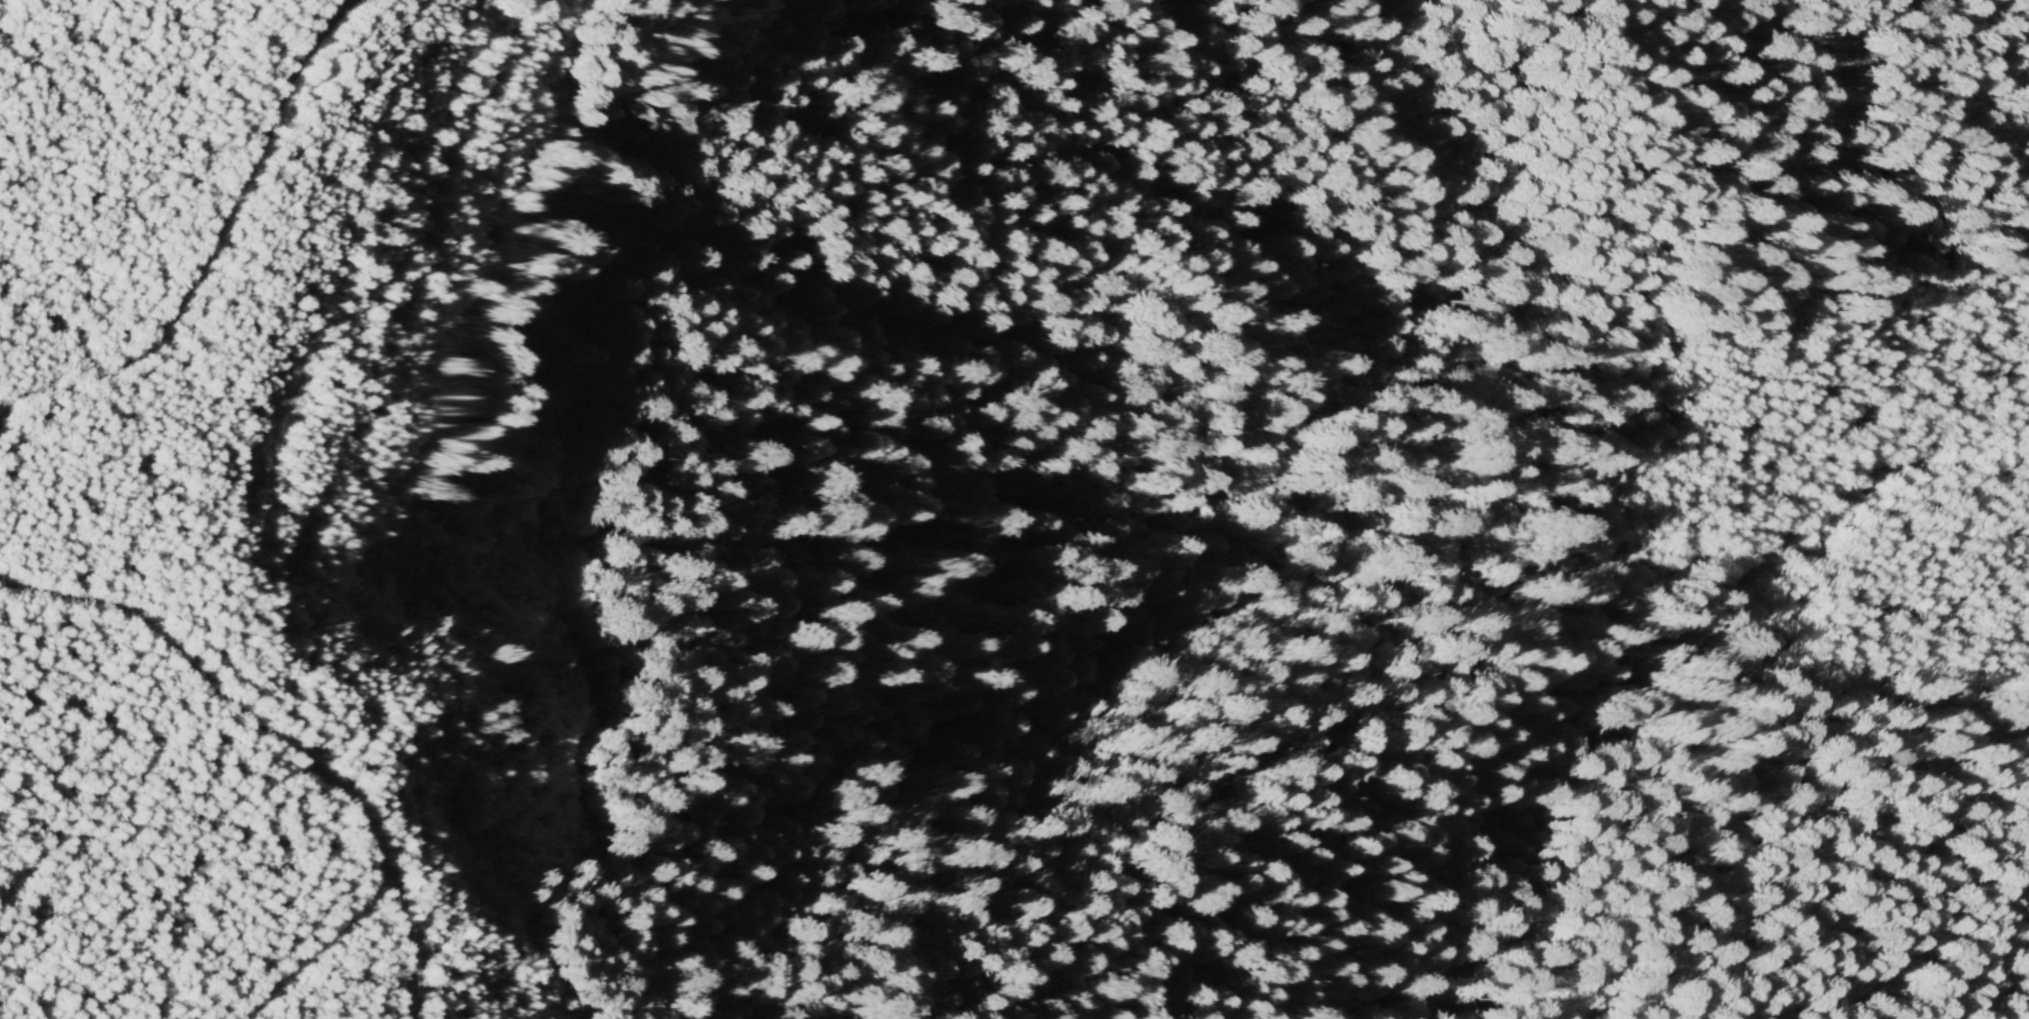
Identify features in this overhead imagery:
road: (170, 814)

